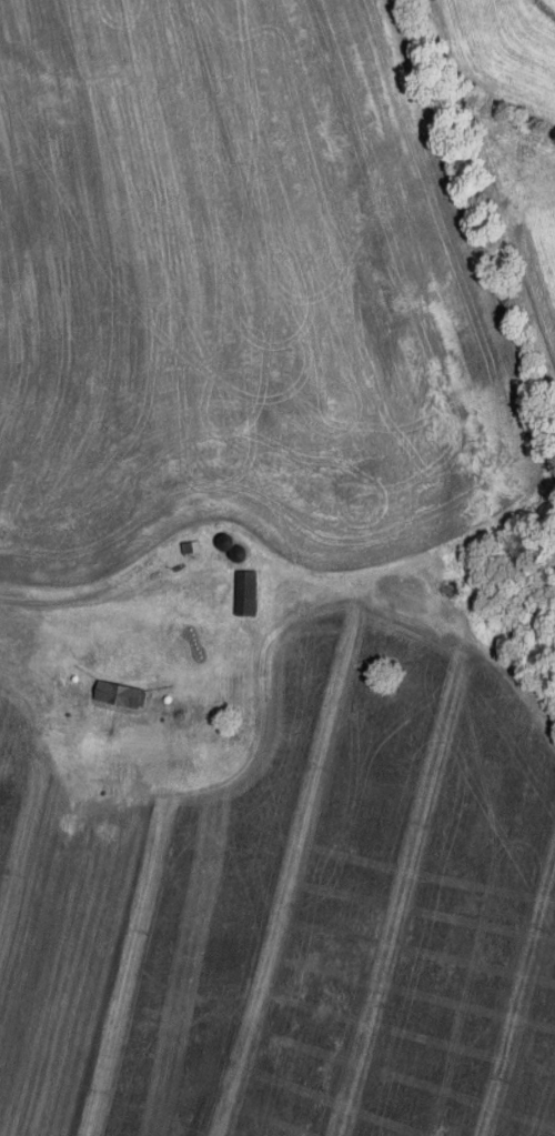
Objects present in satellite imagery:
building: (245, 590)
road: (73, 595)
building: (119, 691)

